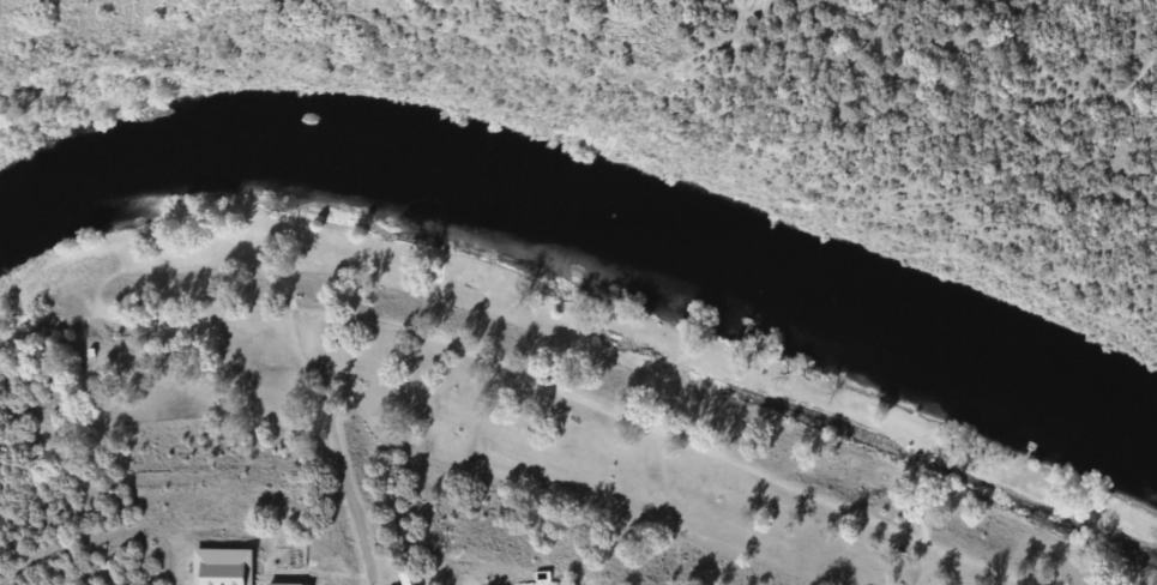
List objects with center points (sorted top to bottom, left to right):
river: (587, 218)
road: (14, 324)
building: (224, 567)
building: (291, 584)

